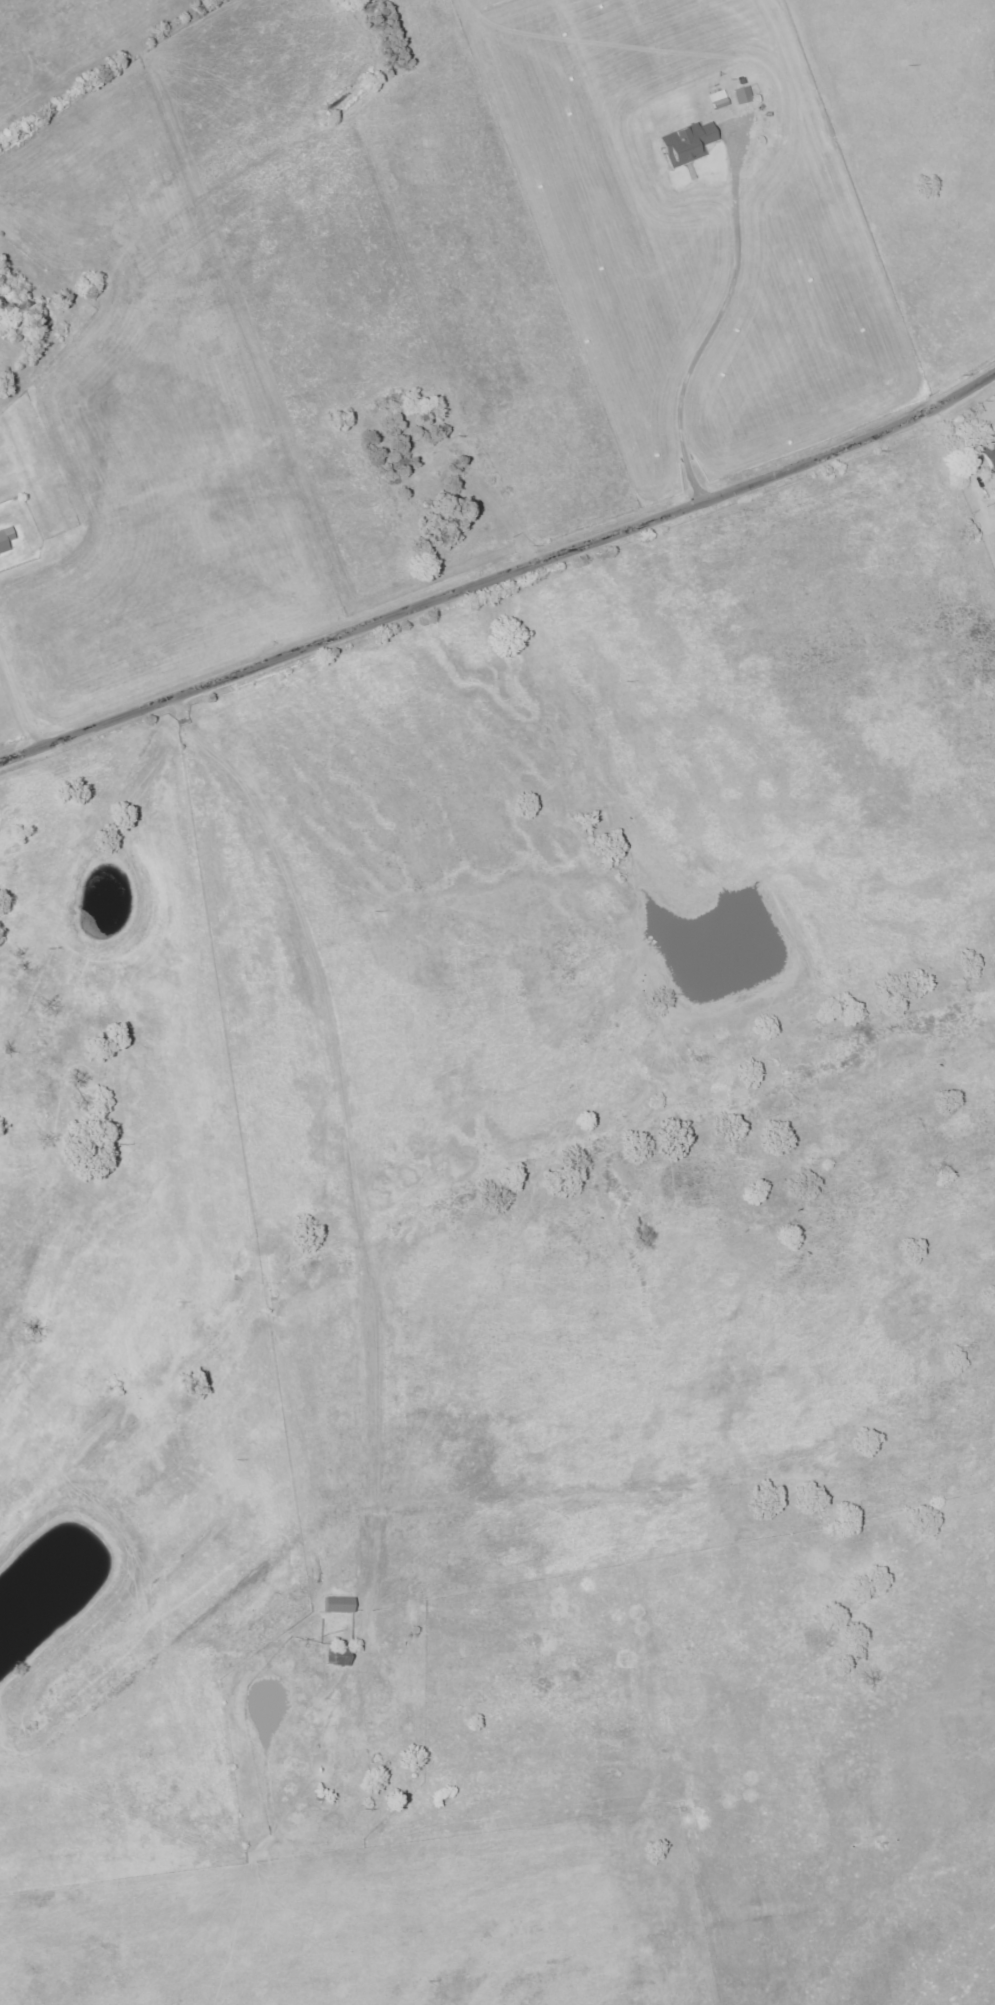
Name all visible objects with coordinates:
building: (719, 99)
building: (687, 143)
road: (705, 342)
building: (989, 454)
building: (5, 539)
road: (500, 574)
road: (18, 700)
road: (368, 1249)
building: (338, 1605)

